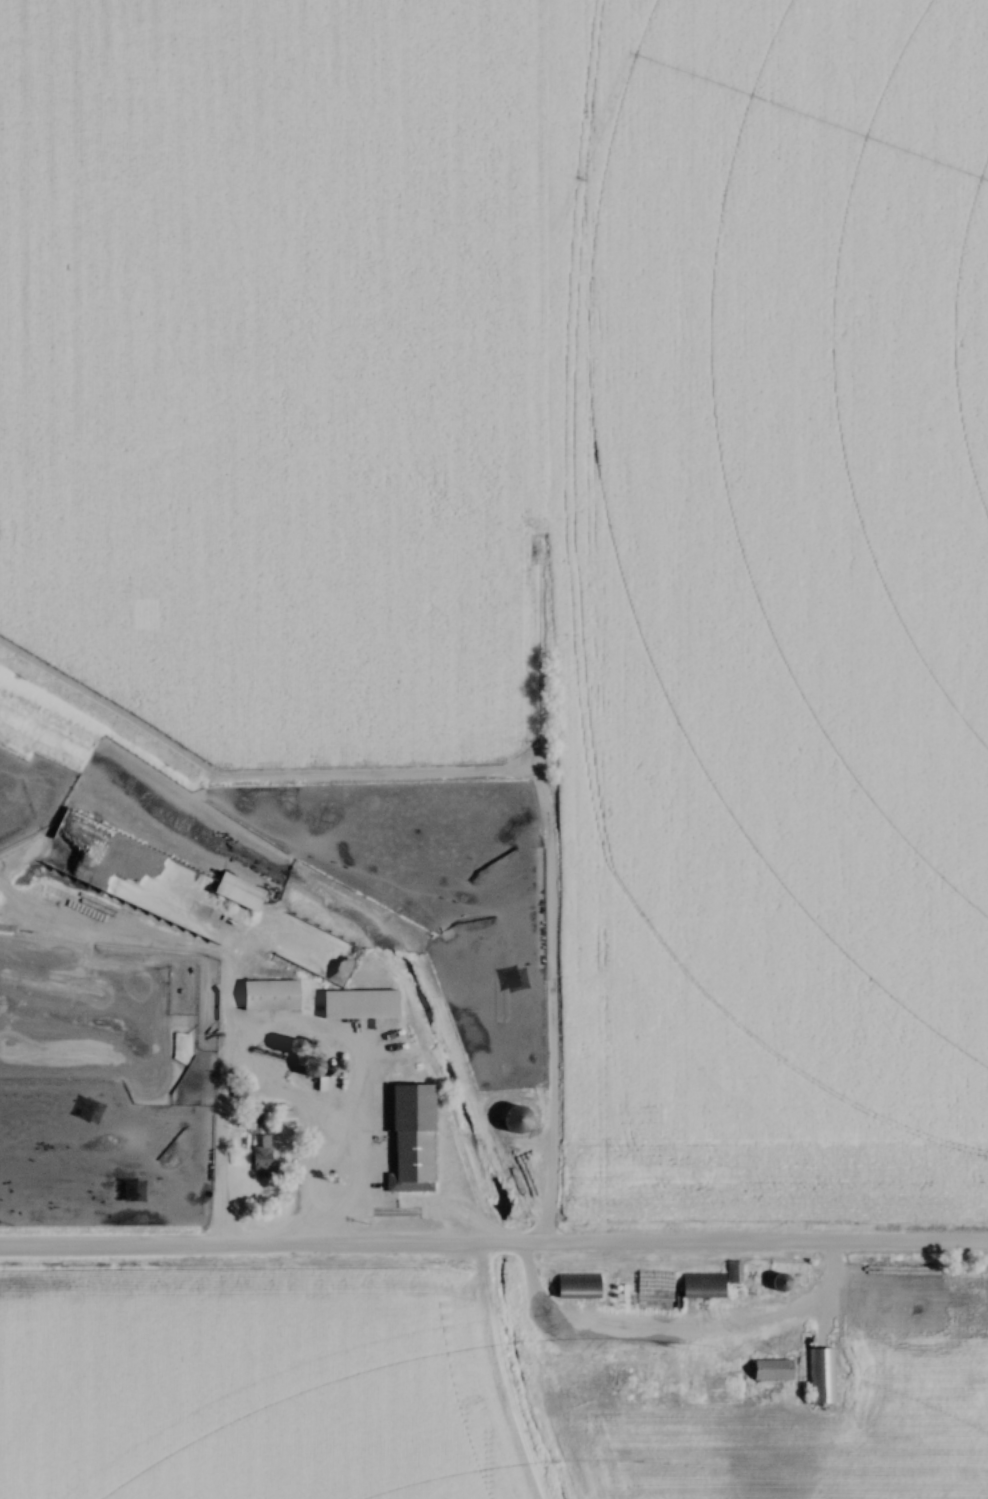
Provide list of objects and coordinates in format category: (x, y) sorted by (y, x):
building: (234, 892)
river: (325, 898)
building: (319, 956)
building: (267, 996)
building: (356, 1005)
building: (285, 1117)
building: (518, 1119)
building: (409, 1139)
building: (259, 1155)
road: (386, 1219)
river: (503, 1239)
road: (493, 1250)
building: (732, 1272)
building: (777, 1282)
building: (698, 1285)
building: (575, 1286)
building: (765, 1369)
building: (821, 1376)
river: (519, 1381)

